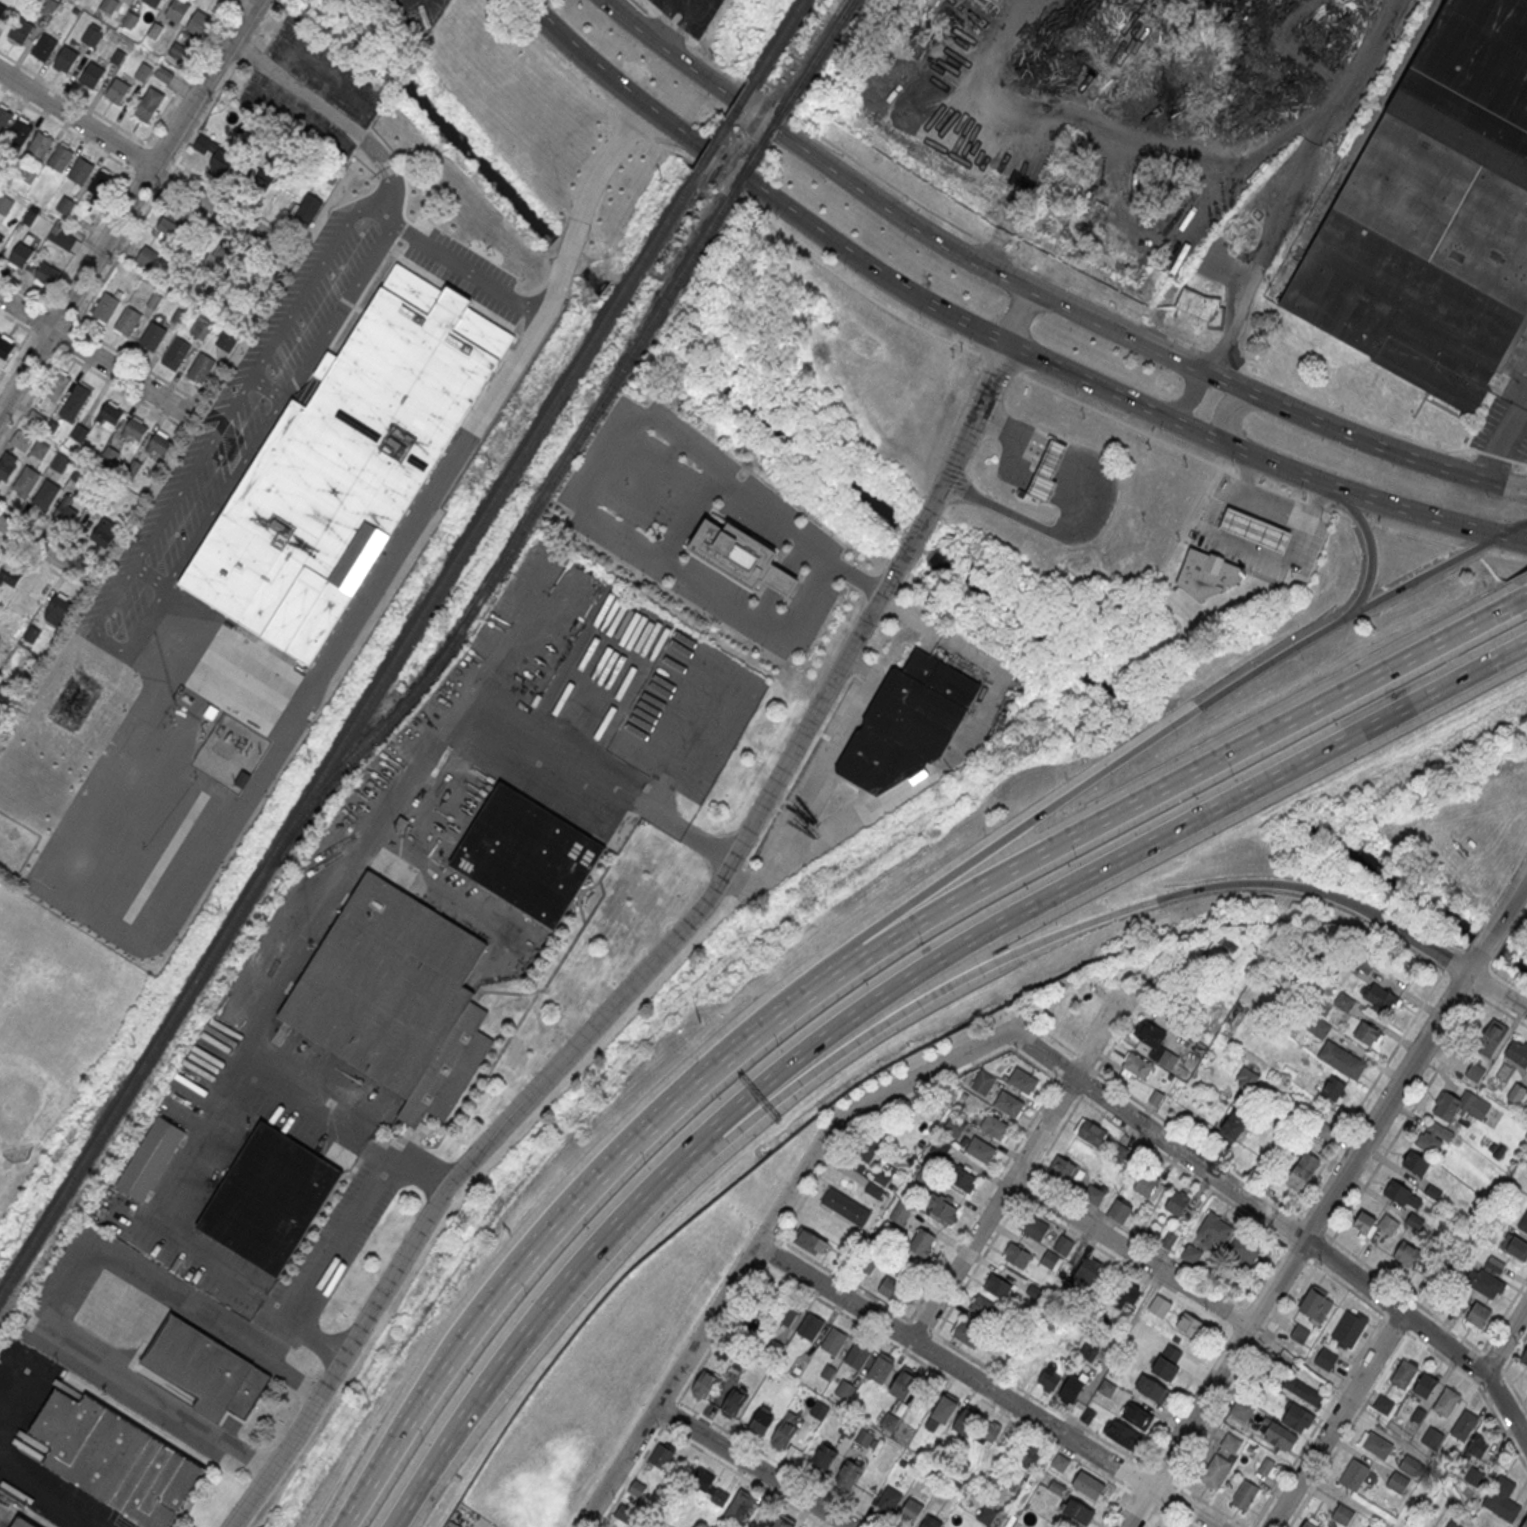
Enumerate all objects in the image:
road: (235, 0)
road: (252, 0)
road: (227, 2)
building: (153, 3)
building: (110, 5)
road: (684, 5)
road: (701, 5)
building: (178, 11)
parking lot: (693, 14)
building: (199, 24)
road: (254, 25)
road: (676, 29)
building: (21, 31)
building: (91, 36)
road: (252, 38)
railway: (778, 40)
building: (44, 48)
road: (246, 48)
building: (178, 50)
railway: (819, 51)
building: (66, 60)
building: (92, 77)
building: (118, 92)
building: (149, 105)
river: (440, 114)
building: (4, 117)
road: (768, 124)
railway: (725, 125)
building: (19, 132)
railway: (1365, 132)
road: (1177, 141)
building: (40, 144)
railway: (758, 149)
building: (216, 156)
building: (61, 157)
road: (145, 160)
road: (383, 160)
road: (716, 161)
building: (80, 169)
road: (140, 176)
building: (259, 181)
building: (101, 182)
road: (116, 189)
road: (231, 196)
building: (5, 204)
building: (65, 204)
road: (127, 207)
building: (308, 210)
building: (1434, 214)
building: (173, 225)
building: (2, 237)
building: (63, 238)
road: (1268, 238)
road: (121, 253)
building: (220, 253)
river: (569, 253)
building: (21, 256)
building: (147, 256)
building: (47, 274)
river: (594, 278)
road: (556, 282)
building: (106, 306)
road: (1064, 306)
building: (1200, 308)
river: (636, 318)
building: (128, 320)
road: (966, 326)
building: (201, 330)
building: (152, 335)
road: (99, 340)
building: (226, 342)
building: (6, 347)
road: (971, 350)
building: (178, 351)
road: (95, 355)
building: (202, 367)
road: (90, 368)
building: (57, 386)
road: (1187, 401)
building: (75, 402)
road: (1226, 409)
building: (110, 415)
building: (135, 430)
road: (1011, 431)
river: (781, 436)
road: (1357, 437)
building: (21, 440)
road: (1505, 441)
building: (160, 448)
building: (39, 449)
road: (1053, 455)
building: (356, 458)
road: (1262, 460)
building: (59, 462)
building: (8, 465)
building: (1047, 470)
building: (26, 481)
road: (1514, 484)
traffic signals: (1502, 485)
building: (46, 493)
road: (1270, 506)
road: (682, 528)
road: (1038, 528)
road: (1512, 528)
building: (1255, 530)
road: (49, 531)
building: (104, 531)
railway: (516, 539)
road: (1366, 539)
river: (913, 540)
road: (45, 550)
road: (1249, 550)
building: (741, 556)
building: (0, 557)
road: (42, 562)
building: (1206, 573)
road: (1425, 573)
building: (10, 576)
building: (57, 610)
river: (1034, 642)
road: (984, 659)
road: (501, 660)
building: (7, 696)
building: (907, 722)
railway: (348, 730)
power substation: (230, 753)
river: (1222, 768)
road: (817, 776)
building: (242, 778)
road: (651, 782)
road: (469, 783)
road: (1160, 789)
road: (1070, 794)
road: (860, 817)
building: (527, 854)
road: (1109, 868)
river: (1413, 891)
road: (1510, 903)
road: (319, 920)
road: (1517, 922)
road: (1079, 926)
road: (673, 937)
road: (1487, 940)
road: (1475, 960)
road: (1498, 989)
building: (396, 997)
building: (1380, 997)
building: (1343, 1001)
park: (51, 1028)
building: (1319, 1028)
building: (1368, 1033)
building: (1149, 1034)
building: (1491, 1039)
building: (1517, 1053)
building: (1342, 1059)
building: (1167, 1060)
building: (1136, 1067)
building: (1475, 1073)
building: (1022, 1080)
building: (982, 1081)
building: (1334, 1088)
building: (1516, 1094)
building: (1008, 1103)
building: (1460, 1106)
building: (995, 1126)
building: (1234, 1126)
building: (1091, 1133)
building: (1326, 1133)
building: (1431, 1136)
road: (207, 1137)
road: (379, 1149)
building: (980, 1149)
building: (862, 1154)
building: (1119, 1154)
building: (150, 1158)
building: (1416, 1163)
road: (1017, 1169)
building: (1065, 1170)
building: (1302, 1172)
building: (962, 1178)
building: (1145, 1185)
building: (1403, 1195)
building: (1093, 1196)
building: (269, 1198)
building: (1177, 1204)
building: (845, 1205)
building: (942, 1209)
road: (357, 1210)
building: (1119, 1211)
building: (900, 1214)
building: (1414, 1221)
road: (1280, 1223)
building: (1523, 1223)
building: (1373, 1224)
building: (1034, 1226)
building: (1215, 1231)
road: (542, 1236)
road: (758, 1241)
building: (811, 1241)
building: (1168, 1241)
building: (922, 1243)
building: (1063, 1245)
building: (1513, 1246)
road: (1297, 1249)
building: (1246, 1250)
road: (1130, 1253)
building: (1407, 1254)
building: (1016, 1255)
building: (1191, 1255)
building: (1051, 1259)
building: (1087, 1270)
road: (66, 1280)
building: (1487, 1284)
building: (997, 1285)
building: (895, 1292)
road: (555, 1293)
building: (1128, 1296)
building: (1316, 1305)
building: (983, 1308)
building: (786, 1313)
building: (1474, 1314)
road: (1387, 1317)
building: (1189, 1324)
road: (303, 1326)
building: (810, 1327)
building: (1349, 1329)
building: (968, 1333)
building: (1300, 1334)
parking lot: (67, 1341)
road: (1504, 1341)
building: (833, 1342)
building: (857, 1356)
building: (1524, 1358)
building: (1325, 1360)
building: (1167, 1362)
building: (204, 1369)
building: (880, 1369)
road: (1249, 1371)
road: (1504, 1372)
building: (1403, 1374)
building: (1049, 1380)
building: (704, 1383)
building: (903, 1385)
building: (1424, 1385)
road: (984, 1387)
building: (1106, 1388)
building: (1071, 1389)
building: (1151, 1389)
road: (1480, 1389)
building: (844, 1390)
building: (1302, 1391)
building: (733, 1402)
building: (1446, 1402)
building: (1383, 1405)
building: (944, 1410)
building: (1241, 1410)
building: (819, 1411)
building: (1136, 1416)
parking lot: (18, 1417)
building: (1297, 1418)
road: (1336, 1420)
building: (762, 1421)
building: (888, 1422)
building: (965, 1422)
building: (1464, 1425)
building: (785, 1430)
building: (847, 1430)
building: (989, 1432)
building: (1278, 1434)
building: (1432, 1438)
building: (864, 1439)
building: (1231, 1444)
building: (1376, 1444)
building: (1478, 1446)
building: (661, 1456)
building: (1029, 1457)
building: (823, 1458)
building: (115, 1459)
building: (1059, 1464)
building: (1408, 1464)
road: (752, 1467)
building: (1268, 1467)
building: (1215, 1469)
building: (848, 1475)
building: (1355, 1475)
building: (1475, 1477)
building: (1398, 1482)
building: (707, 1484)
building: (1088, 1486)
building: (637, 1489)
building: (1245, 1494)
building: (1502, 1498)
road: (55, 1501)
building: (888, 1501)
road: (406, 1503)
building: (740, 1507)
parking lot: (8, 1510)
building: (909, 1512)
building: (1078, 1512)
building: (623, 1513)
building: (1343, 1514)
road: (1159, 1518)
road: (1179, 1518)
building: (24, 1522)
building: (929, 1522)
building: (783, 1523)
building: (1524, 1523)
building: (1307, 1524)

